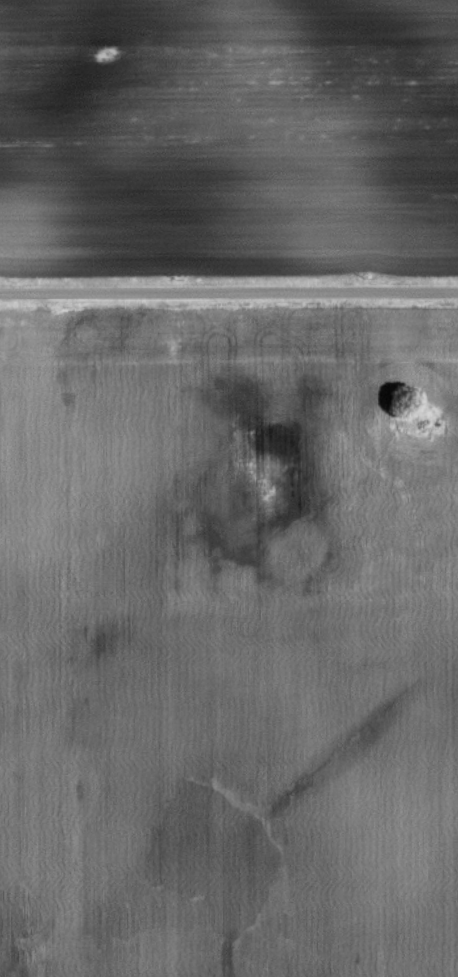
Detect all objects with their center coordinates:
road: (229, 296)

